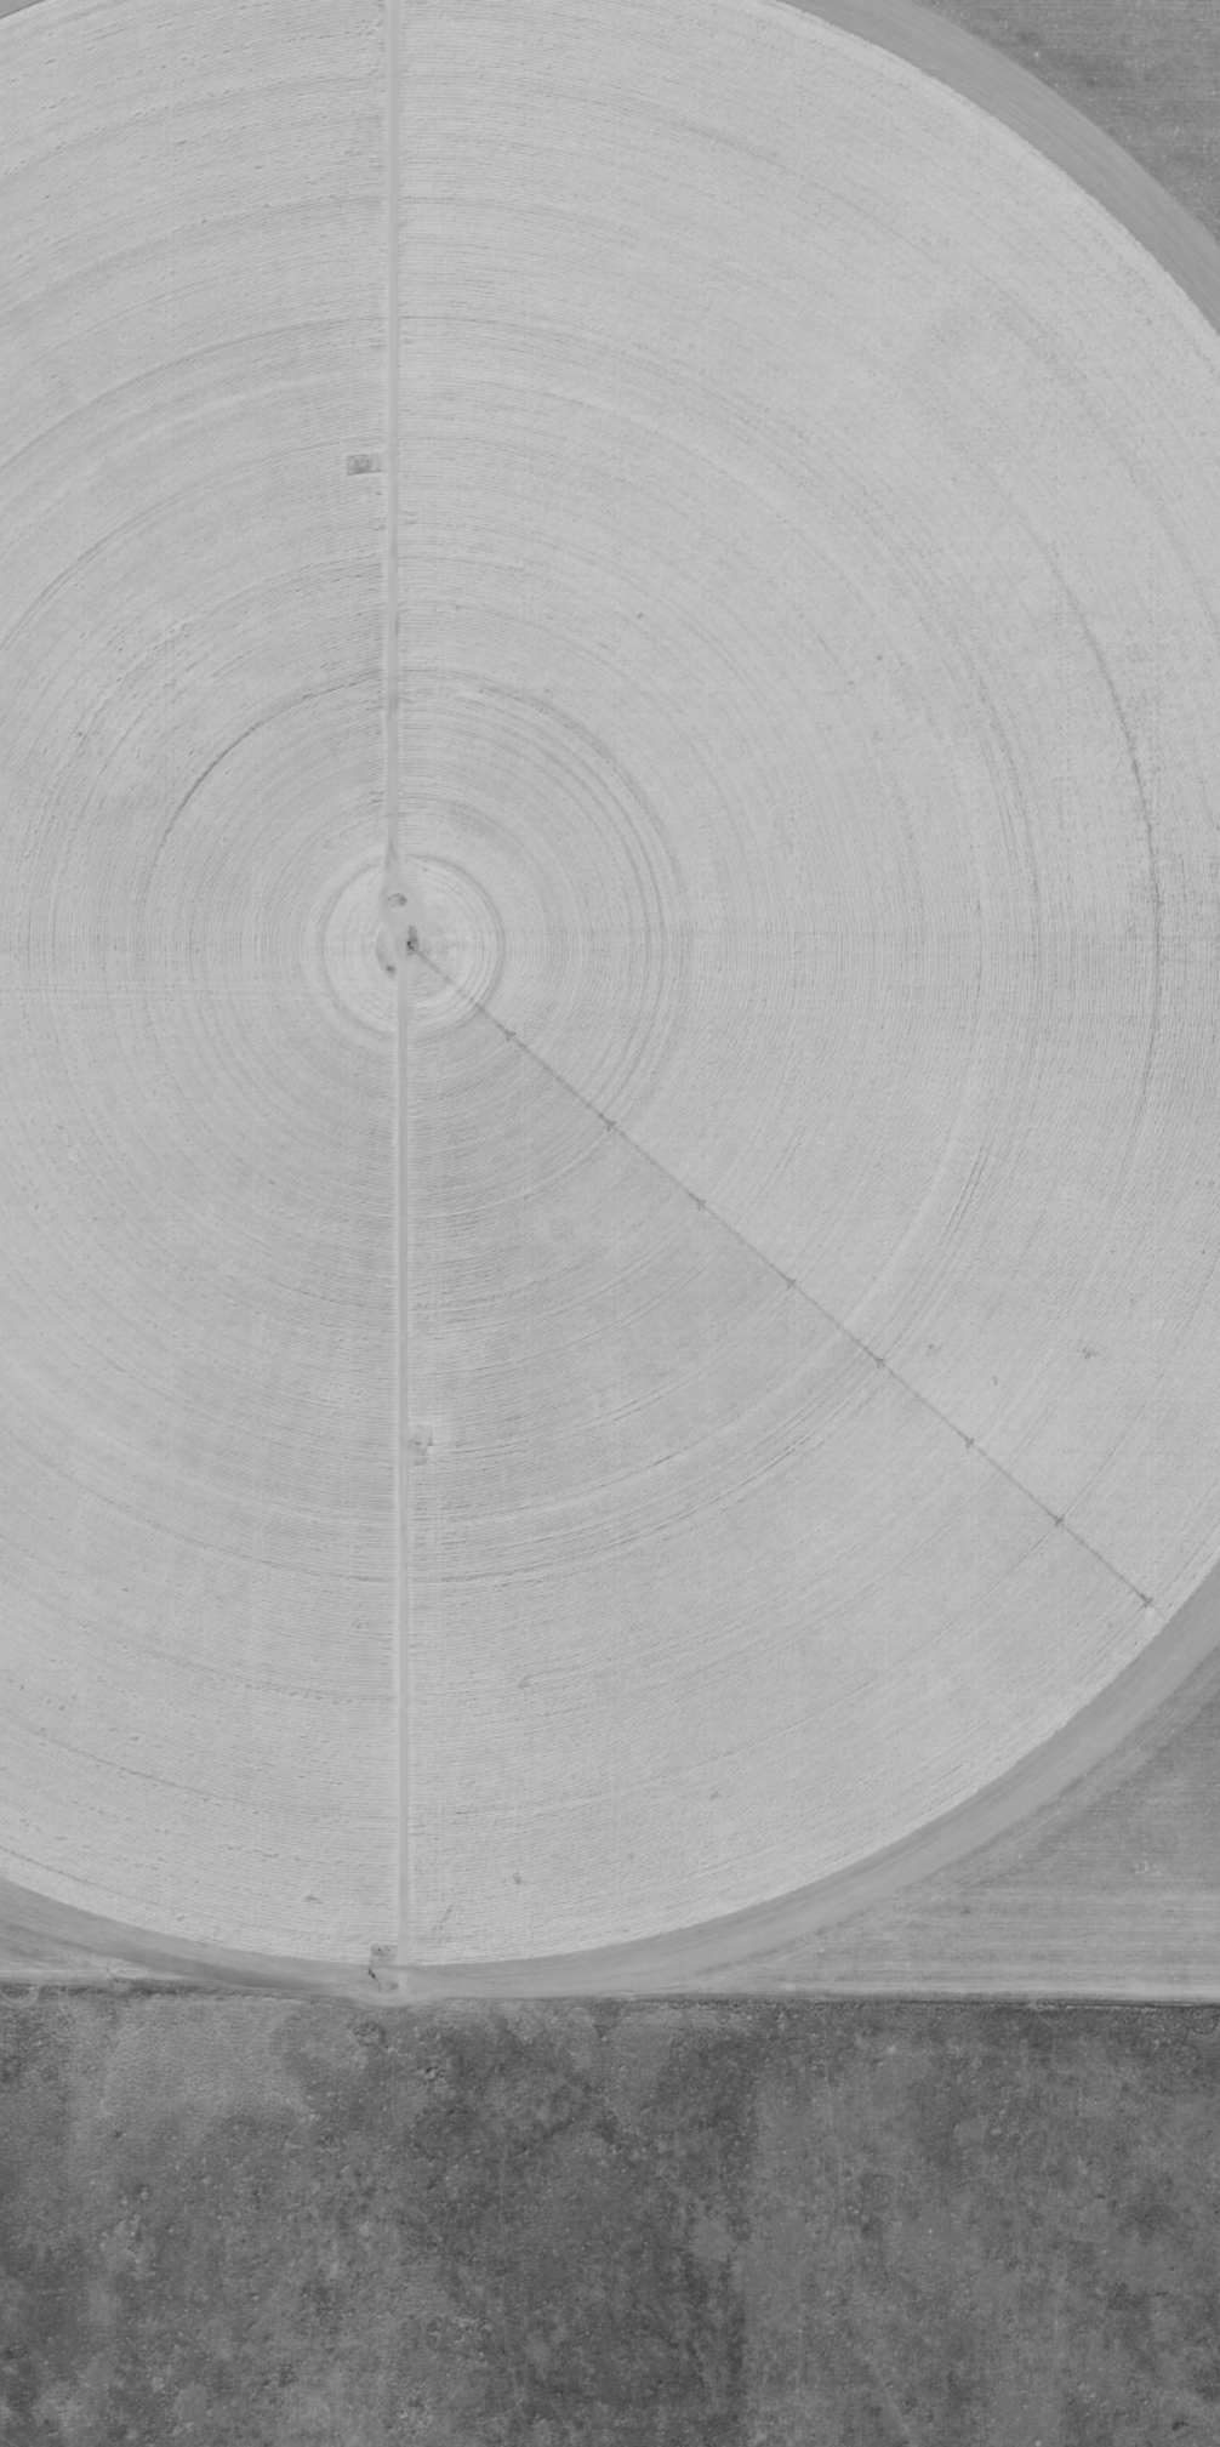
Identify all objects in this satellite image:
road: (609, 1997)

